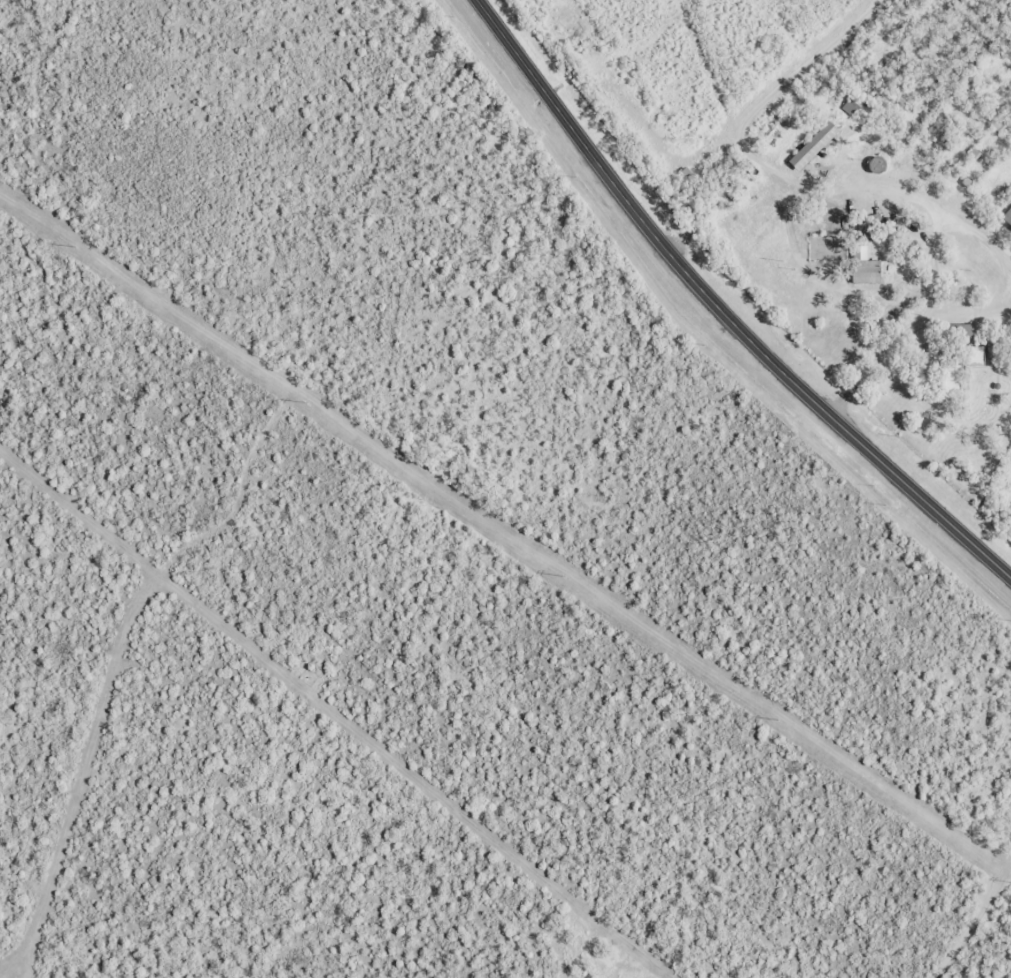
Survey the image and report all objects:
building: (843, 105)
building: (803, 146)
building: (1004, 216)
power tower: (74, 244)
building: (855, 272)
road: (720, 308)
road: (916, 370)
power tower: (306, 400)
power tower: (557, 574)
power tower: (772, 718)

